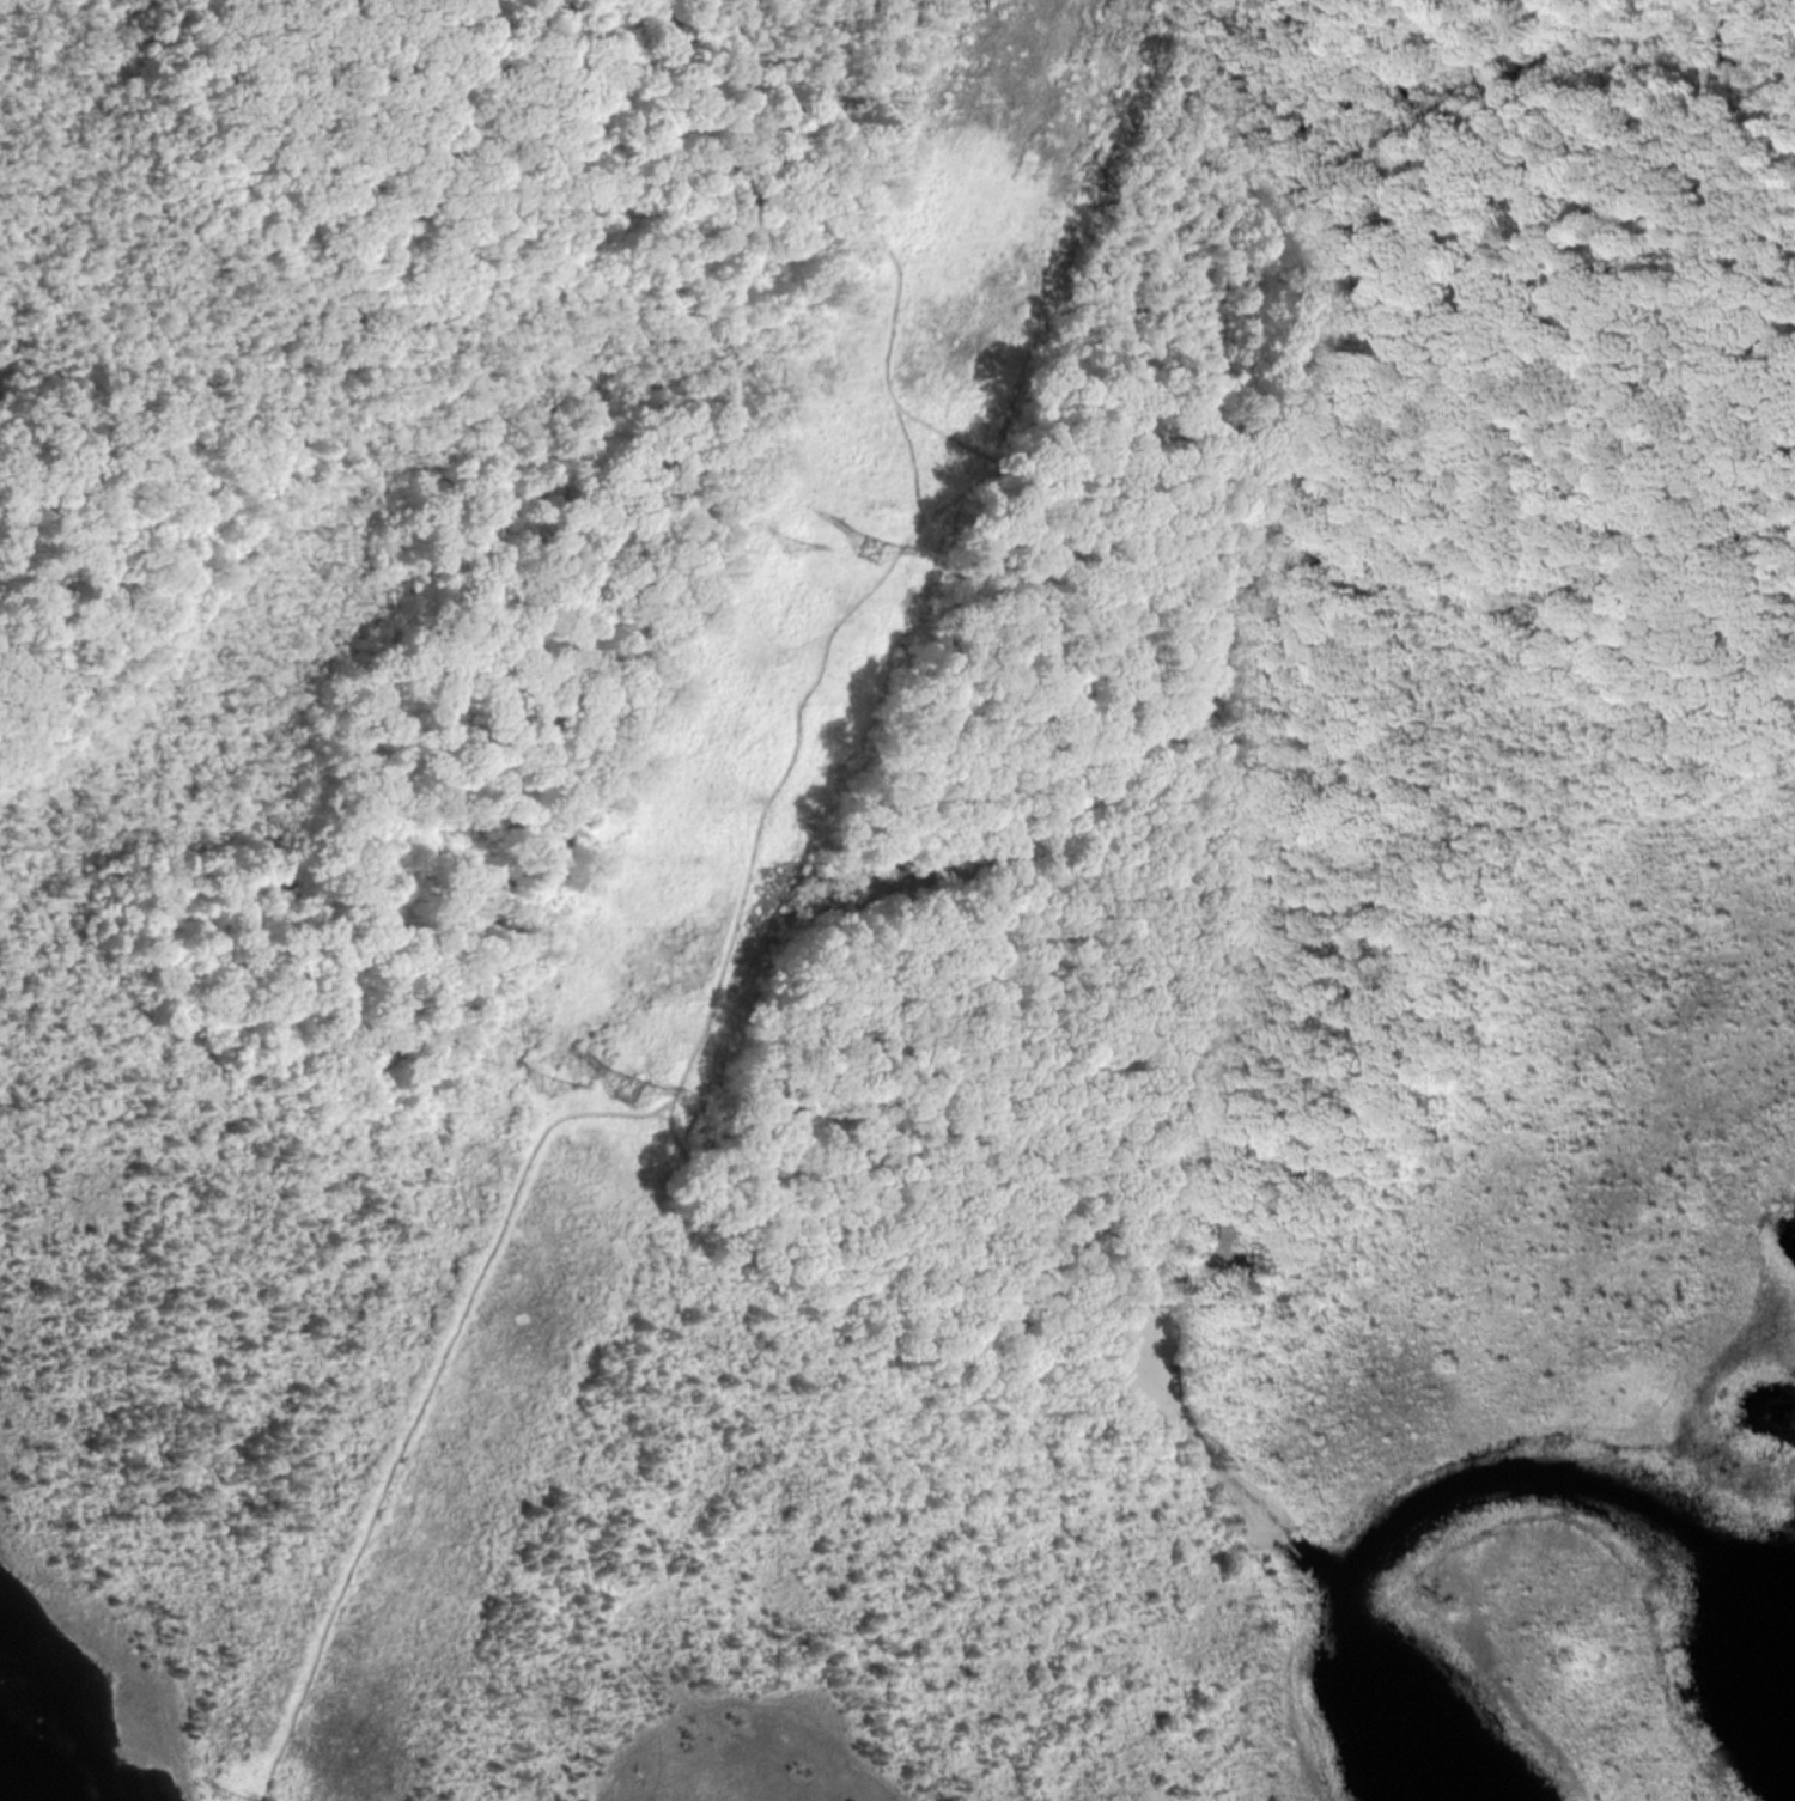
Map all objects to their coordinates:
road: (1791, 127)
road: (859, 196)
parking lot: (1659, 264)
road: (1544, 333)
road: (907, 460)
parking lot: (1387, 471)
parking lot: (1254, 492)
power tower: (778, 546)
power tower: (859, 548)
road: (621, 555)
road: (1550, 583)
road: (1649, 699)
parking lot: (1253, 747)
road: (1228, 893)
park: (898, 900)
parking lot: (1242, 1000)
road: (710, 1009)
power tower: (623, 1093)
power tower: (549, 1094)
road: (540, 1096)
road: (504, 1101)
road: (657, 1103)
parking lot: (1239, 1249)
road: (1249, 1259)
building: (1134, 1306)
parking lot: (1140, 1369)
road: (421, 1404)
road: (1188, 1435)
river: (1458, 1490)
pier: (1290, 1546)
road: (1266, 1576)

